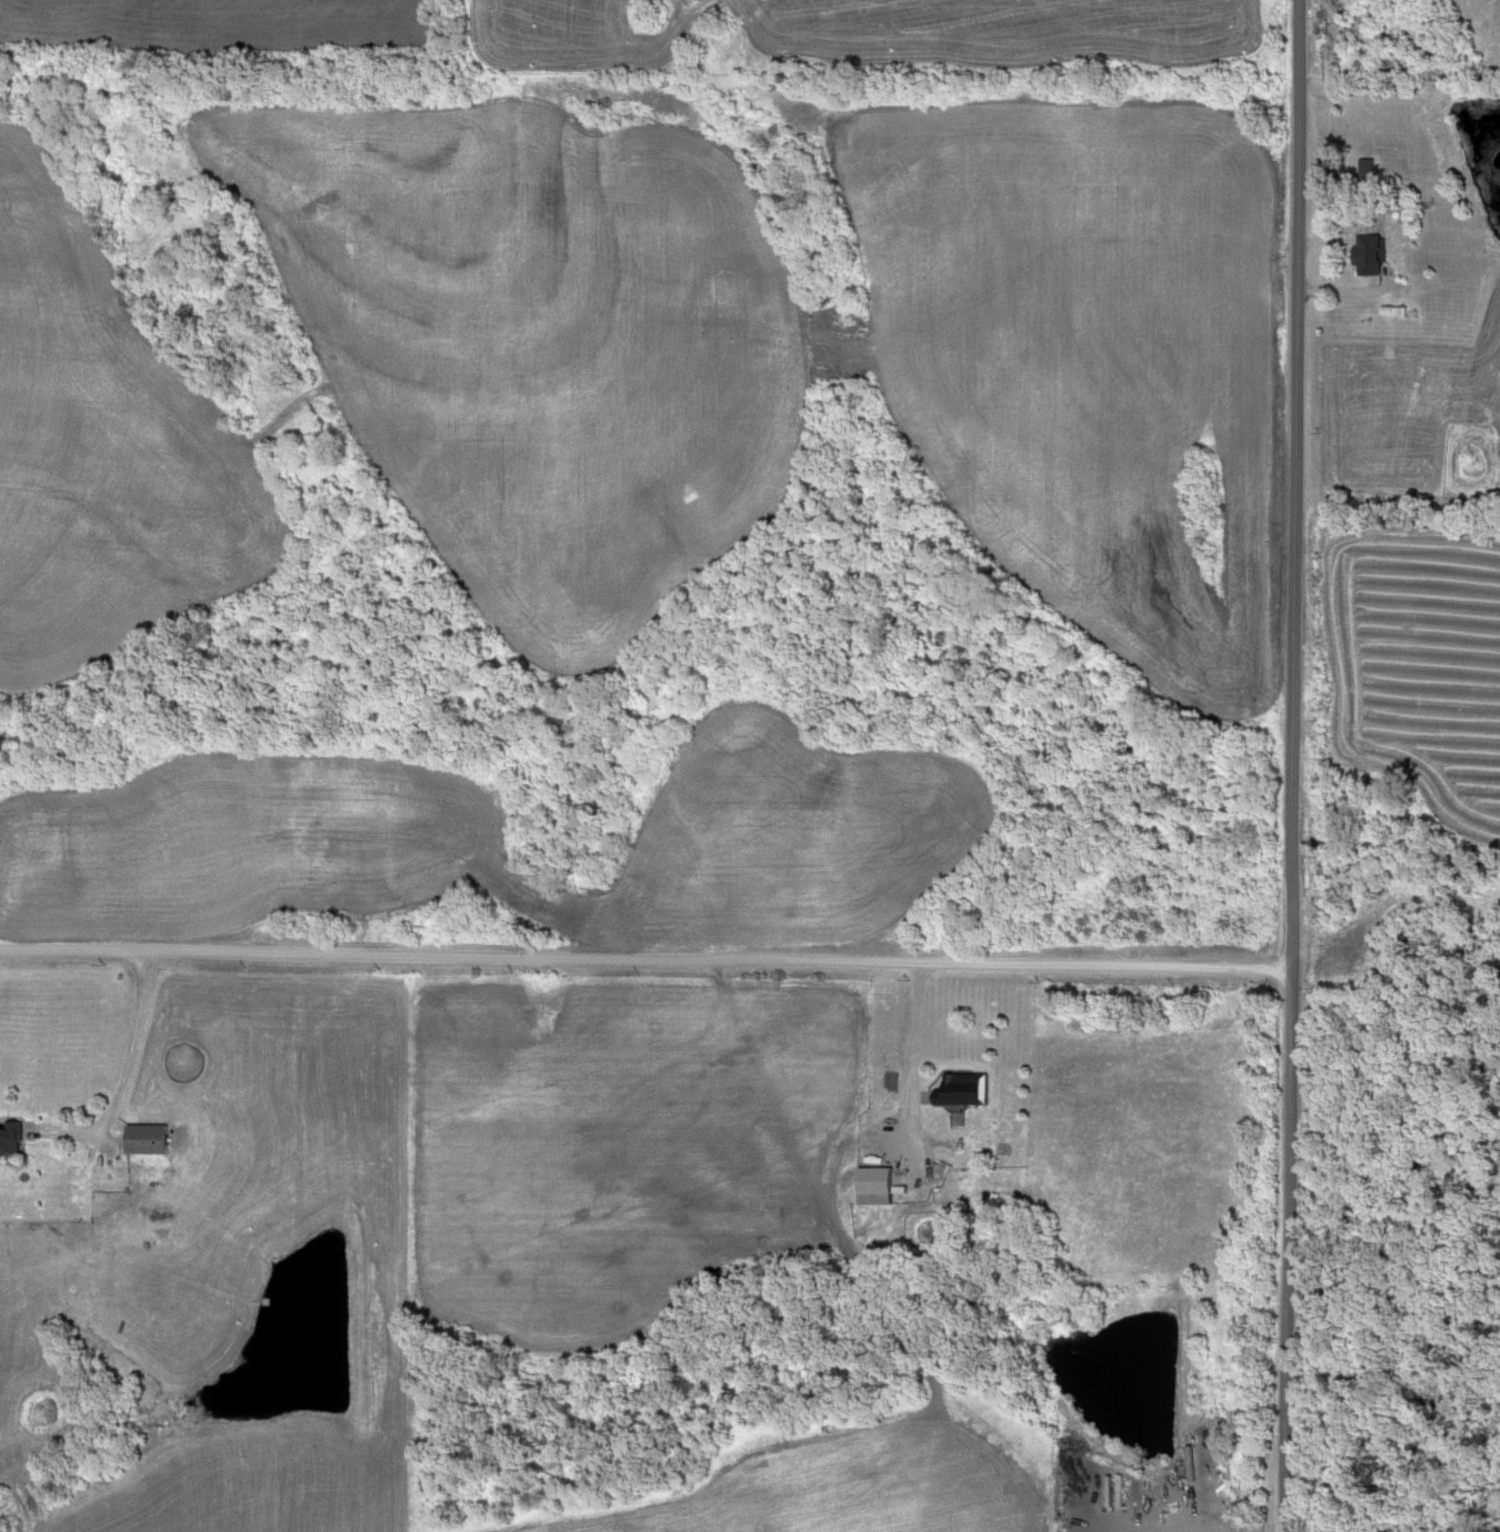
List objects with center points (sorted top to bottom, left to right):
road: (1400, 13)
building: (1367, 257)
road: (1349, 291)
road: (1295, 766)
road: (647, 962)
road: (911, 1063)
road: (121, 1083)
building: (961, 1091)
building: (12, 1140)
building: (146, 1141)
building: (872, 1187)
road: (1187, 1511)

